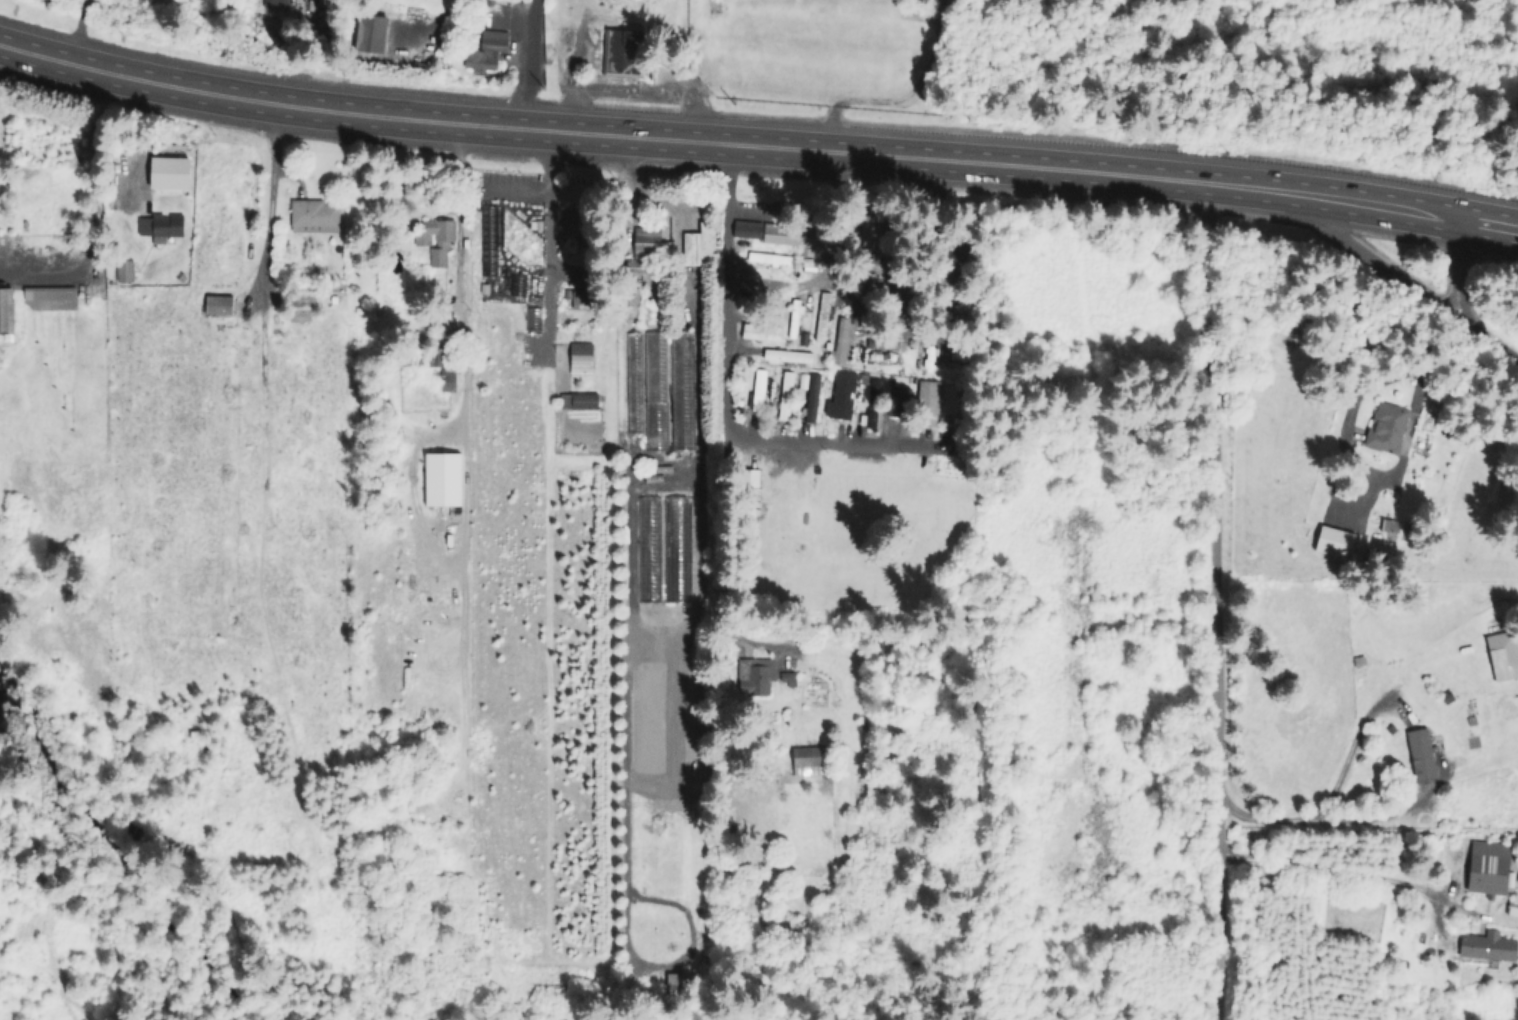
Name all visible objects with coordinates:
building: (275, 5)
building: (367, 36)
building: (484, 53)
building: (621, 55)
road: (529, 66)
road: (133, 85)
road: (362, 117)
road: (885, 159)
road: (536, 181)
road: (265, 209)
road: (1393, 210)
building: (313, 218)
road: (98, 219)
road: (1494, 226)
building: (774, 237)
building: (436, 242)
building: (698, 248)
building: (769, 259)
road: (1390, 262)
road: (1462, 273)
building: (124, 274)
road: (453, 275)
building: (753, 282)
building: (47, 296)
building: (4, 314)
building: (821, 324)
building: (770, 329)
building: (842, 343)
road: (1492, 343)
building: (881, 344)
building: (579, 359)
building: (885, 365)
building: (656, 368)
building: (443, 375)
building: (761, 384)
building: (635, 385)
building: (682, 392)
road: (728, 394)
building: (813, 395)
building: (842, 397)
building: (901, 399)
building: (576, 403)
building: (872, 404)
building: (927, 408)
building: (1384, 429)
building: (747, 481)
building: (439, 482)
road: (1376, 496)
building: (1331, 544)
road: (1215, 600)
building: (1494, 660)
building: (753, 684)
building: (1412, 758)
building: (804, 759)
road: (1440, 781)
building: (1484, 868)
road: (1330, 873)
building: (1512, 909)
building: (1366, 931)
building: (1485, 947)

